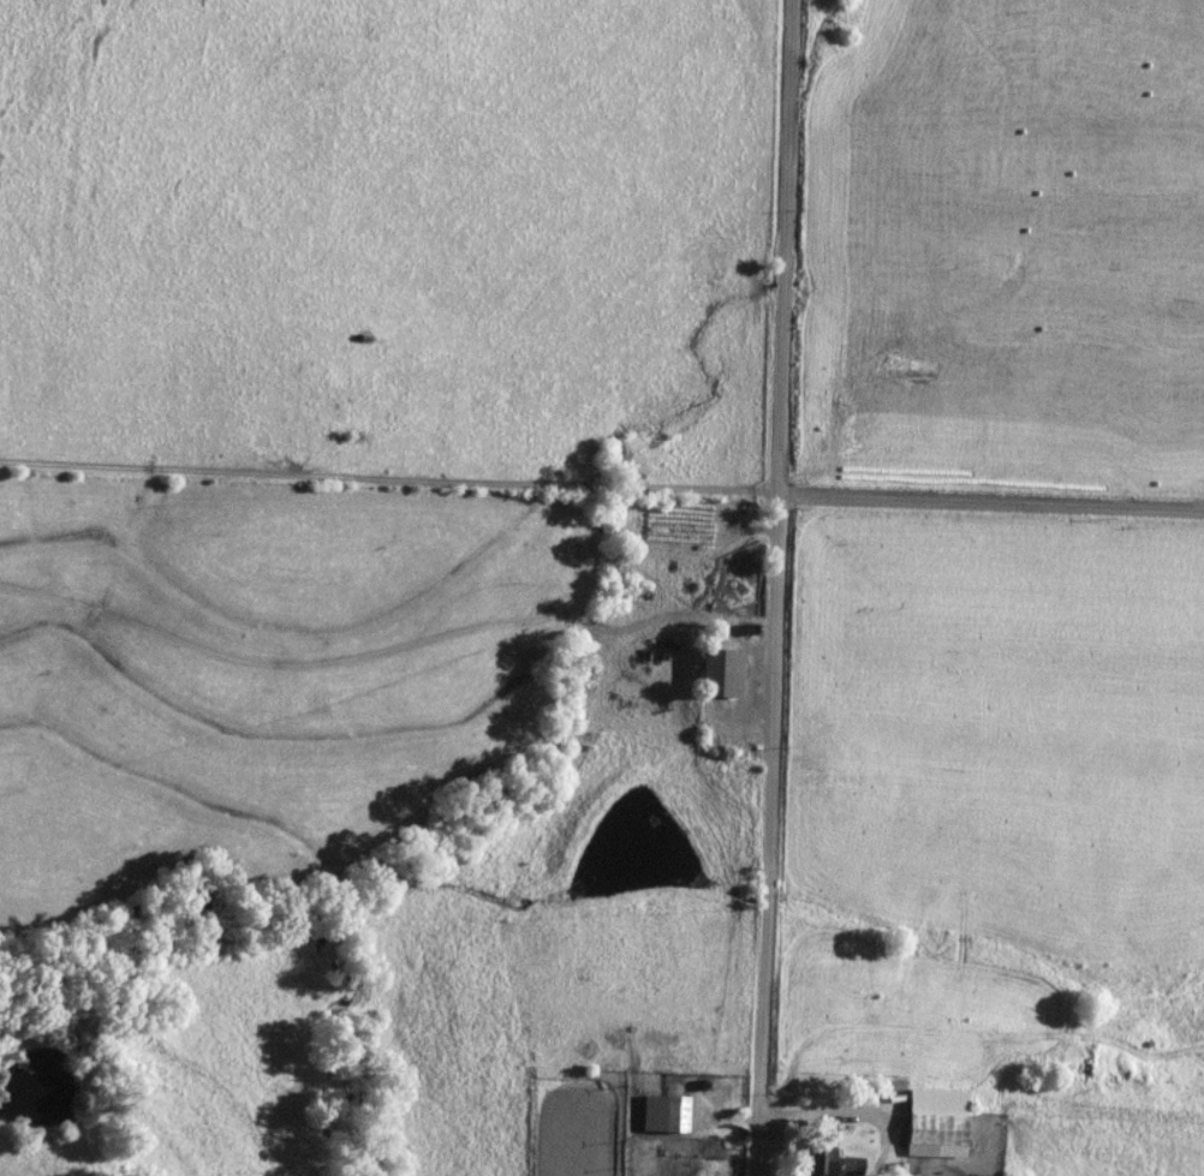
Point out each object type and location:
road: (989, 507)
road: (773, 587)
building: (719, 674)
road: (844, 1111)
building: (663, 1115)
building: (934, 1134)
building: (819, 1162)

